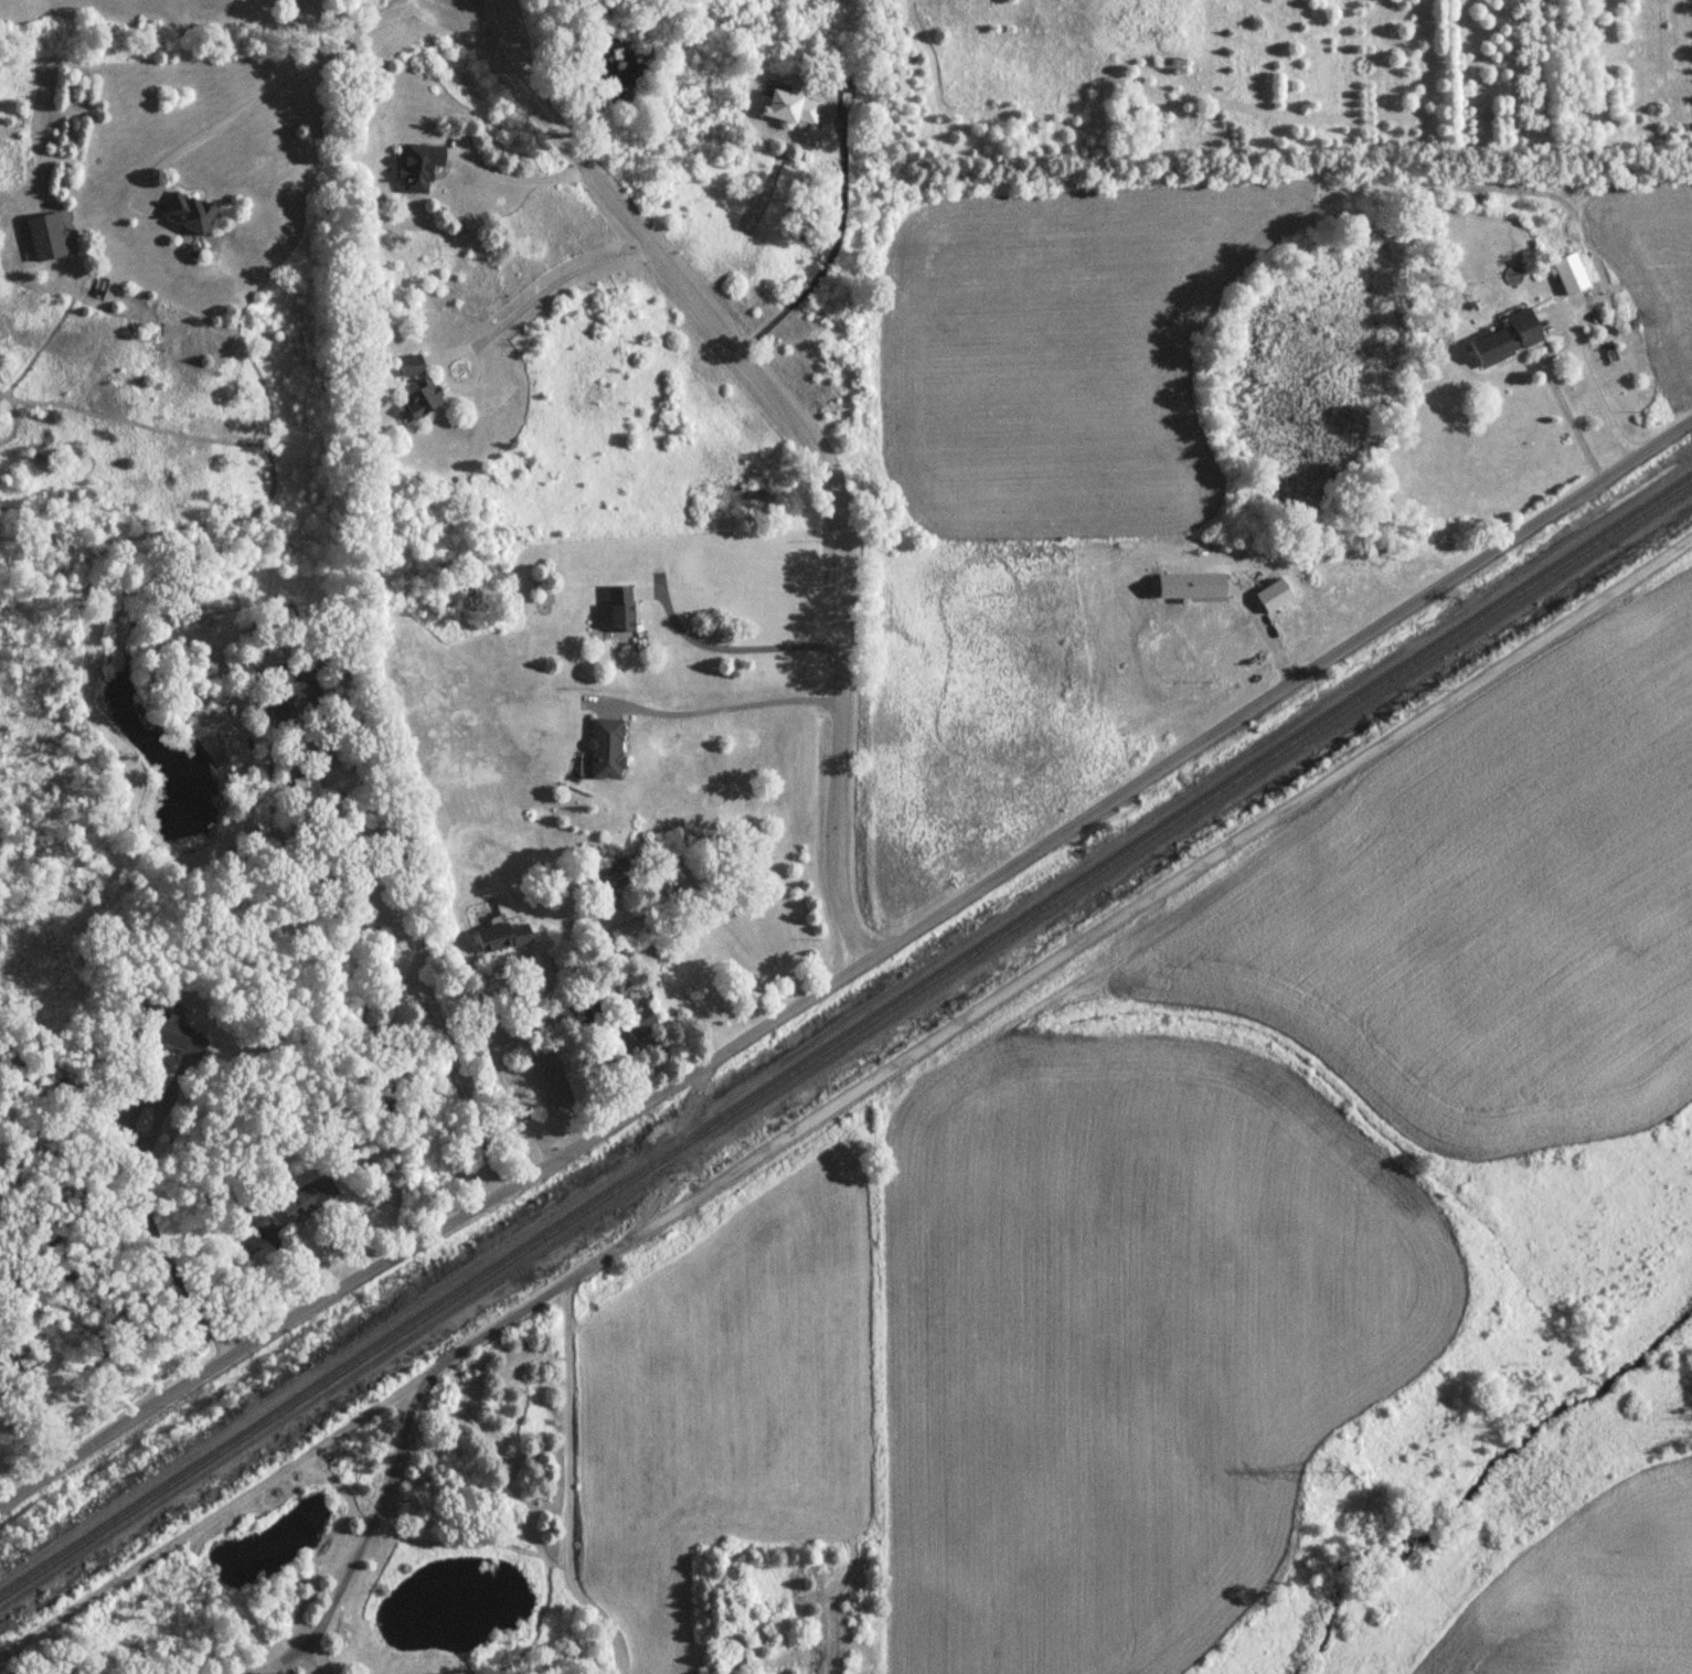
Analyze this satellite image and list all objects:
road: (277, 89)
building: (791, 109)
building: (419, 169)
road: (522, 177)
building: (189, 214)
building: (39, 234)
road: (834, 250)
building: (1571, 275)
road: (540, 282)
building: (1509, 340)
road: (1556, 351)
building: (411, 366)
road: (465, 381)
building: (424, 399)
road: (798, 426)
building: (620, 609)
road: (737, 639)
road: (715, 699)
building: (296, 702)
building: (606, 750)
building: (308, 793)
building: (620, 875)
building: (629, 932)
road: (418, 938)
building: (503, 939)
road: (851, 971)
road: (480, 996)
building: (640, 1025)
railway: (845, 1034)
building: (177, 1039)
road: (141, 1191)
building: (308, 1198)
road: (472, 1345)
building: (18, 1360)
power tower: (1340, 1472)

